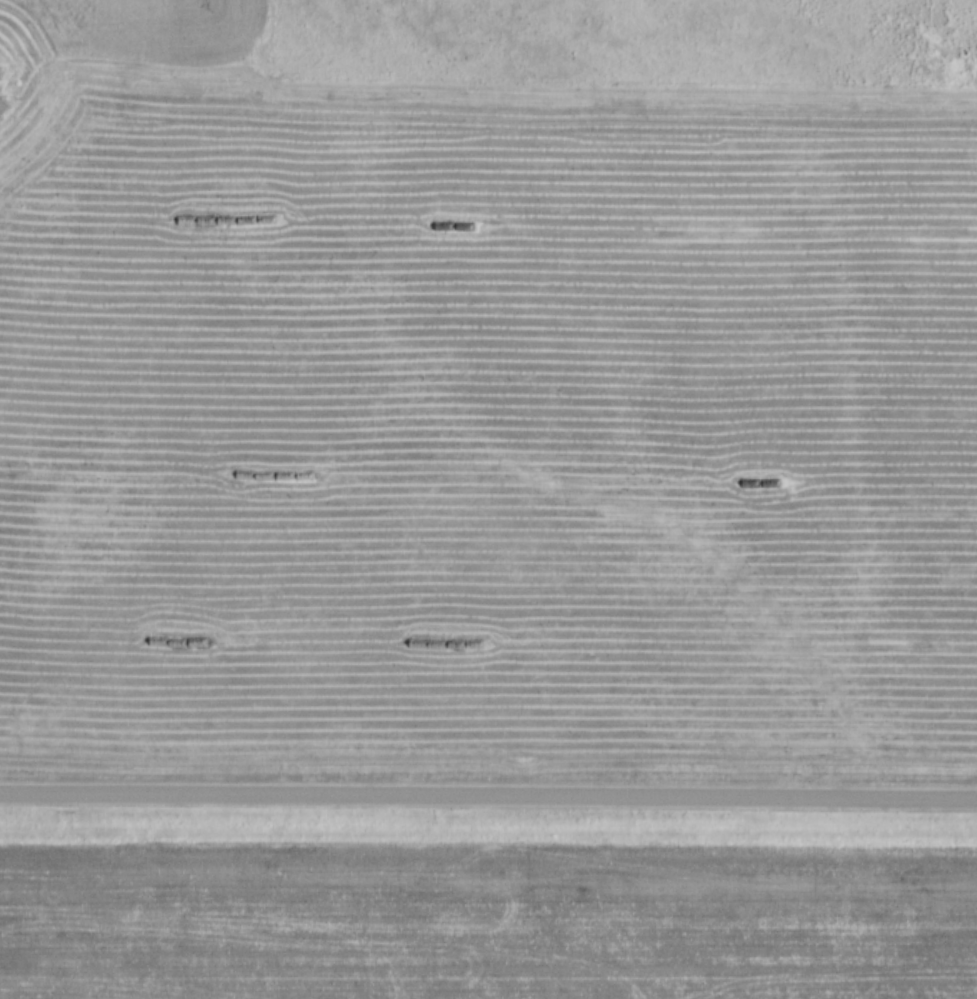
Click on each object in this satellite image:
road: (488, 796)

